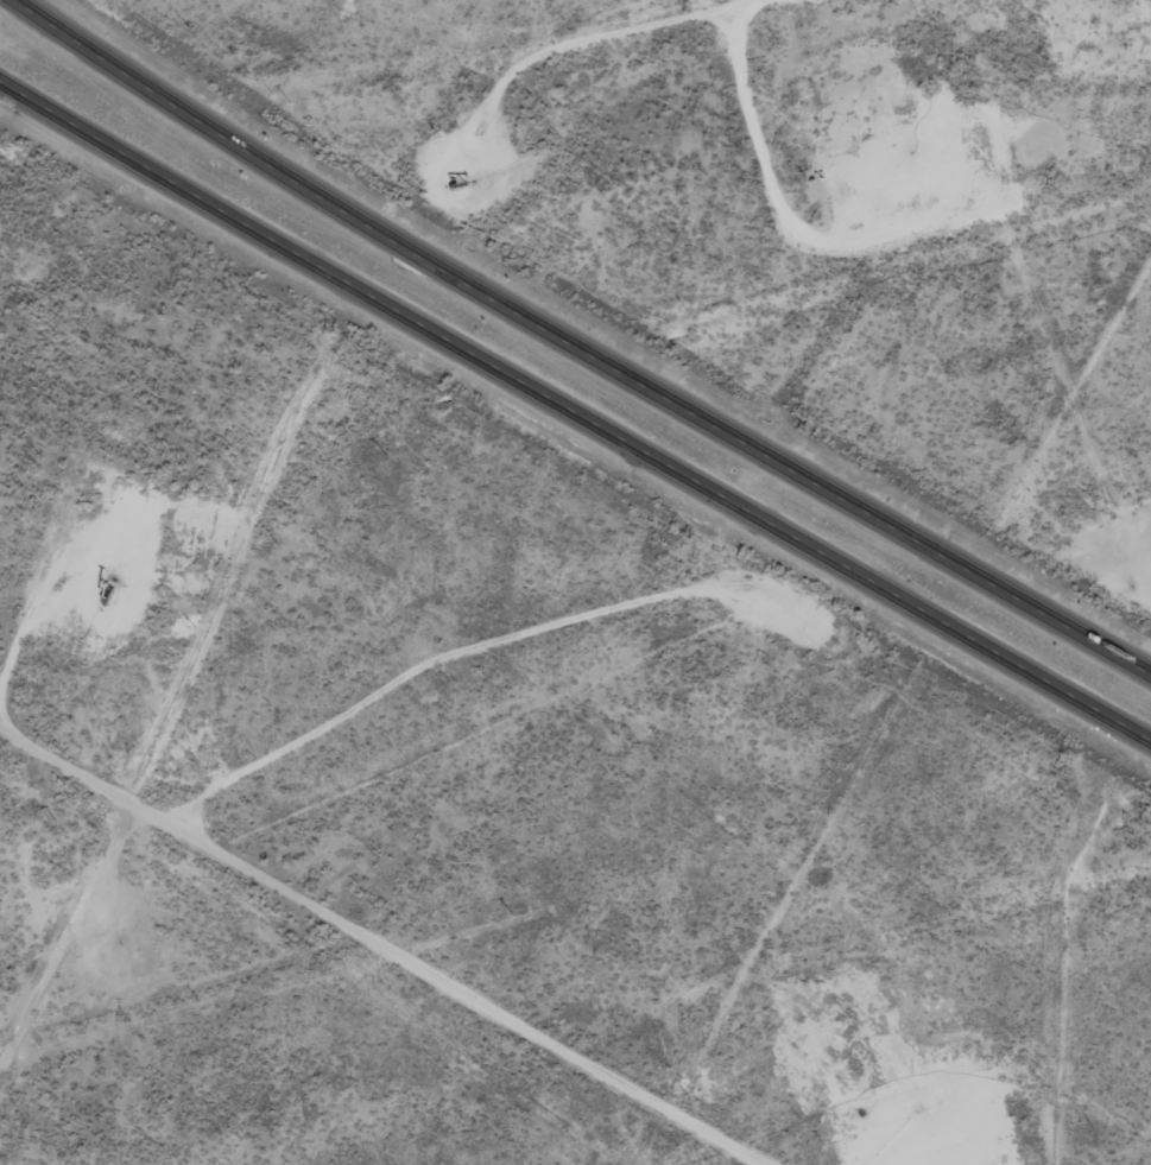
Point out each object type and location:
road: (811, 24)
road: (576, 347)
road: (575, 412)
road: (381, 951)

